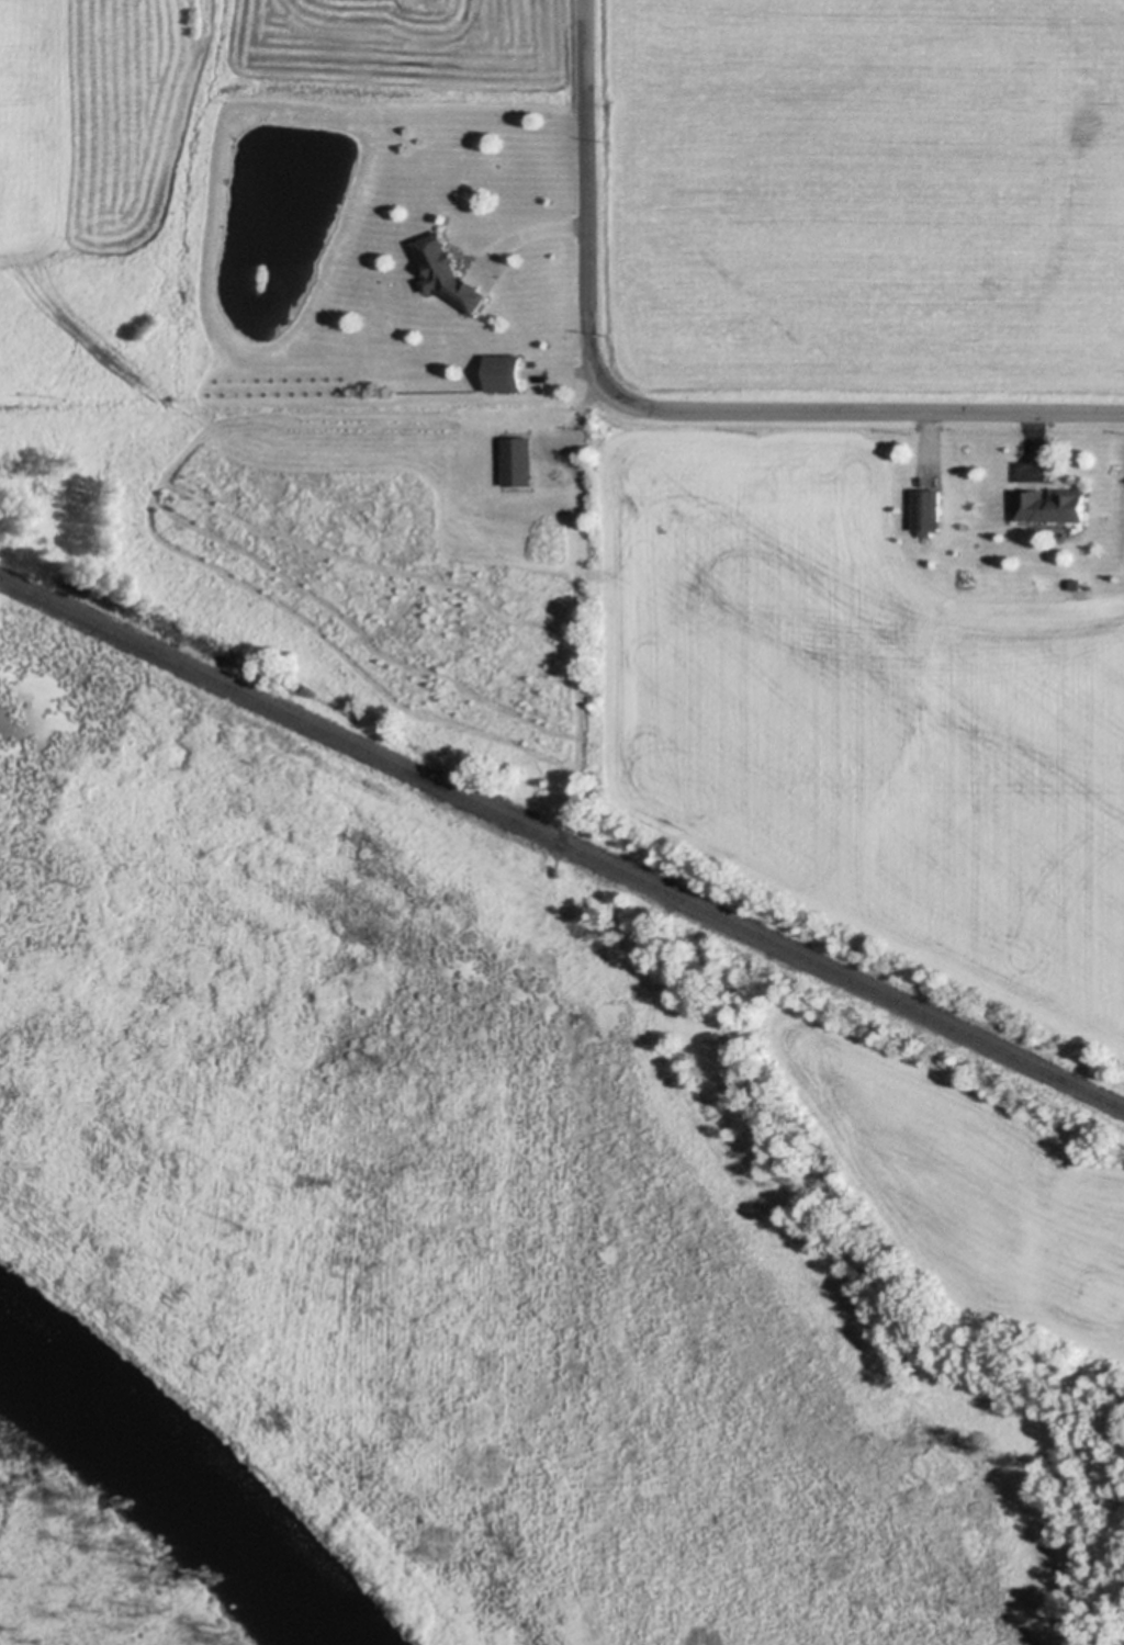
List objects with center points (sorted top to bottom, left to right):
road: (584, 224)
road: (525, 238)
building: (450, 274)
building: (507, 373)
road: (888, 414)
road: (580, 425)
building: (520, 462)
building: (1054, 506)
building: (930, 514)
building: (1078, 585)
road: (580, 681)
railway: (561, 845)
river: (179, 1483)

